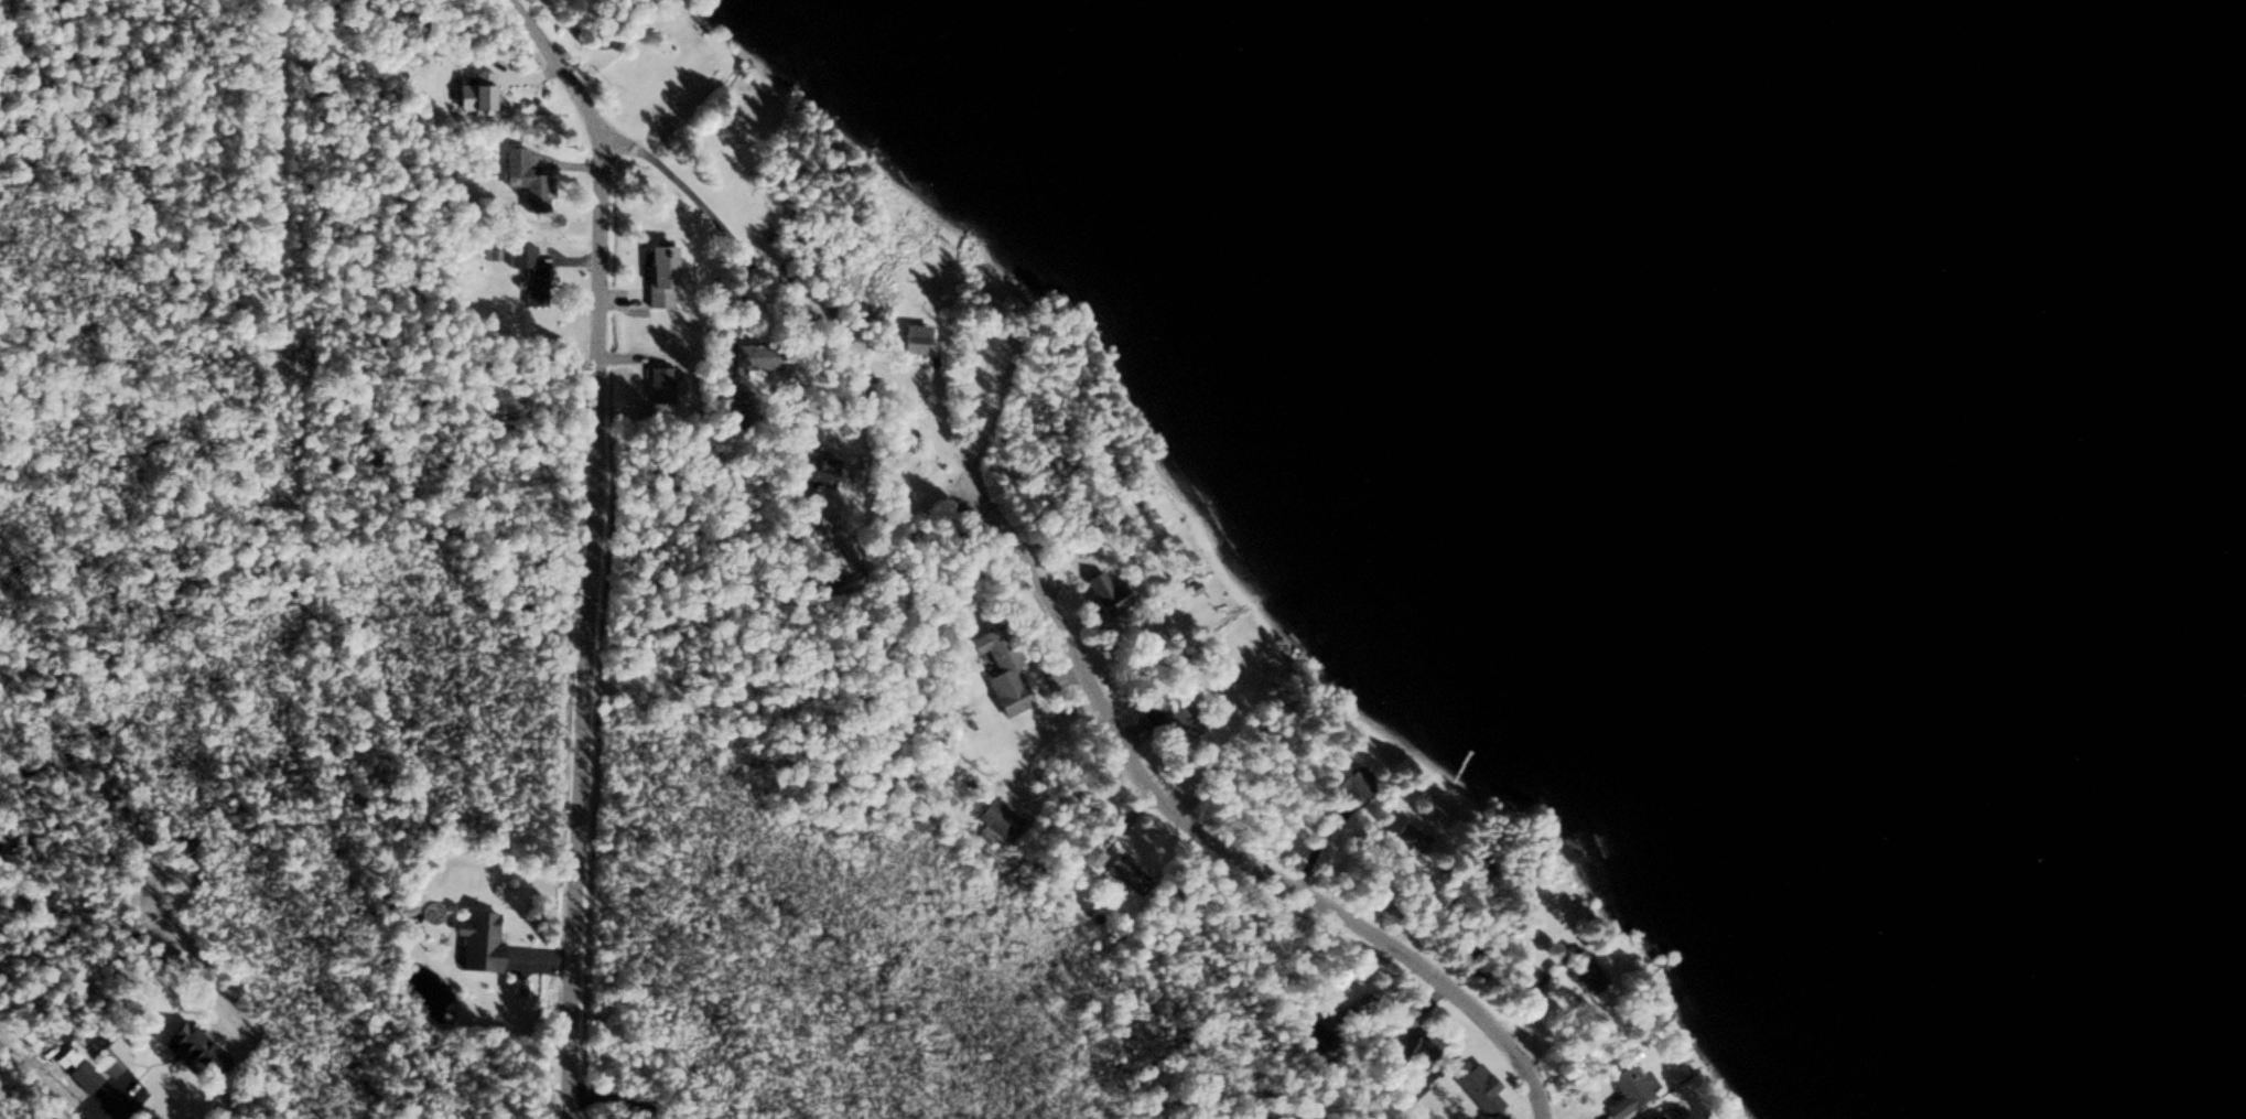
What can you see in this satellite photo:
building: (471, 90)
building: (522, 181)
building: (657, 261)
building: (526, 271)
building: (914, 337)
building: (745, 357)
building: (657, 383)
building: (733, 404)
building: (814, 469)
road: (1027, 567)
building: (1104, 592)
road: (589, 626)
building: (998, 671)
building: (1350, 783)
building: (993, 821)
building: (1089, 854)
building: (1119, 870)
building: (476, 938)
building: (1587, 968)
building: (1408, 1046)
building: (194, 1052)
building: (105, 1058)
road: (119, 1083)
building: (1475, 1084)
building: (1628, 1084)
building: (1659, 1117)

